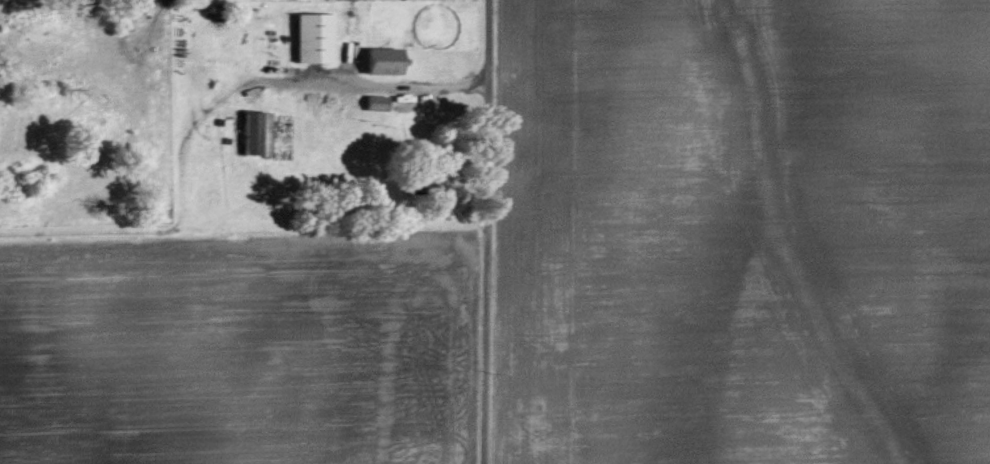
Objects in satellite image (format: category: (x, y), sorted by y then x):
building: (315, 37)
building: (385, 60)
road: (377, 84)
building: (377, 102)
building: (256, 132)
road: (490, 231)

